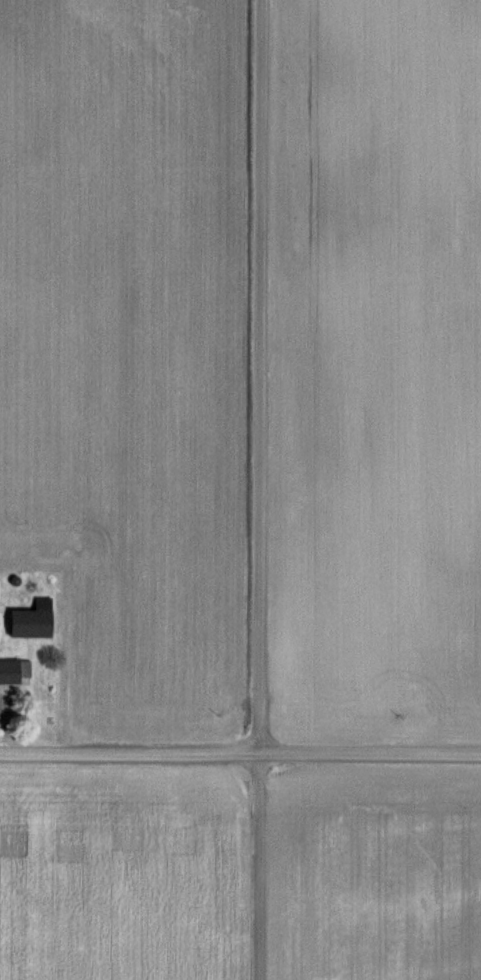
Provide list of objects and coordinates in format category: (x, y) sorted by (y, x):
road: (261, 489)
building: (31, 620)
building: (14, 671)
road: (240, 751)

